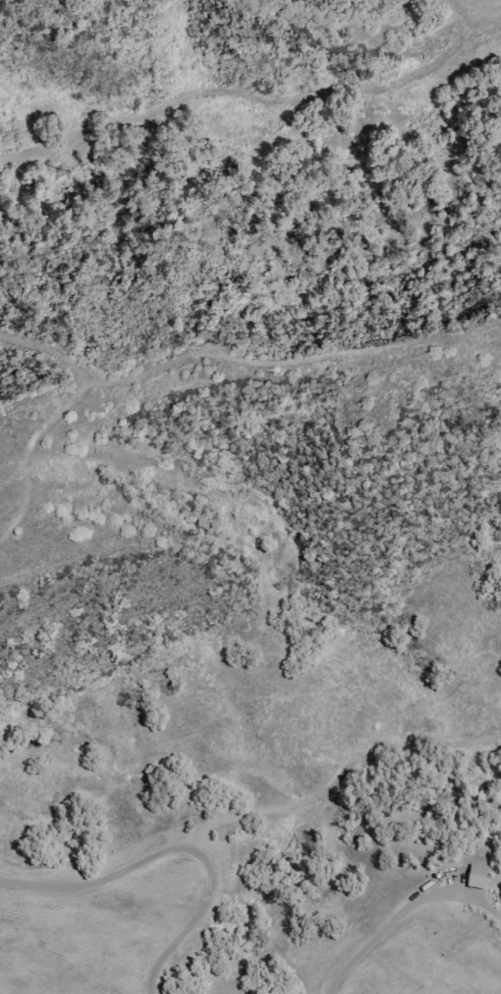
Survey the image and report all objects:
road: (177, 848)
building: (475, 875)
building: (500, 885)
building: (500, 893)
road: (383, 928)

